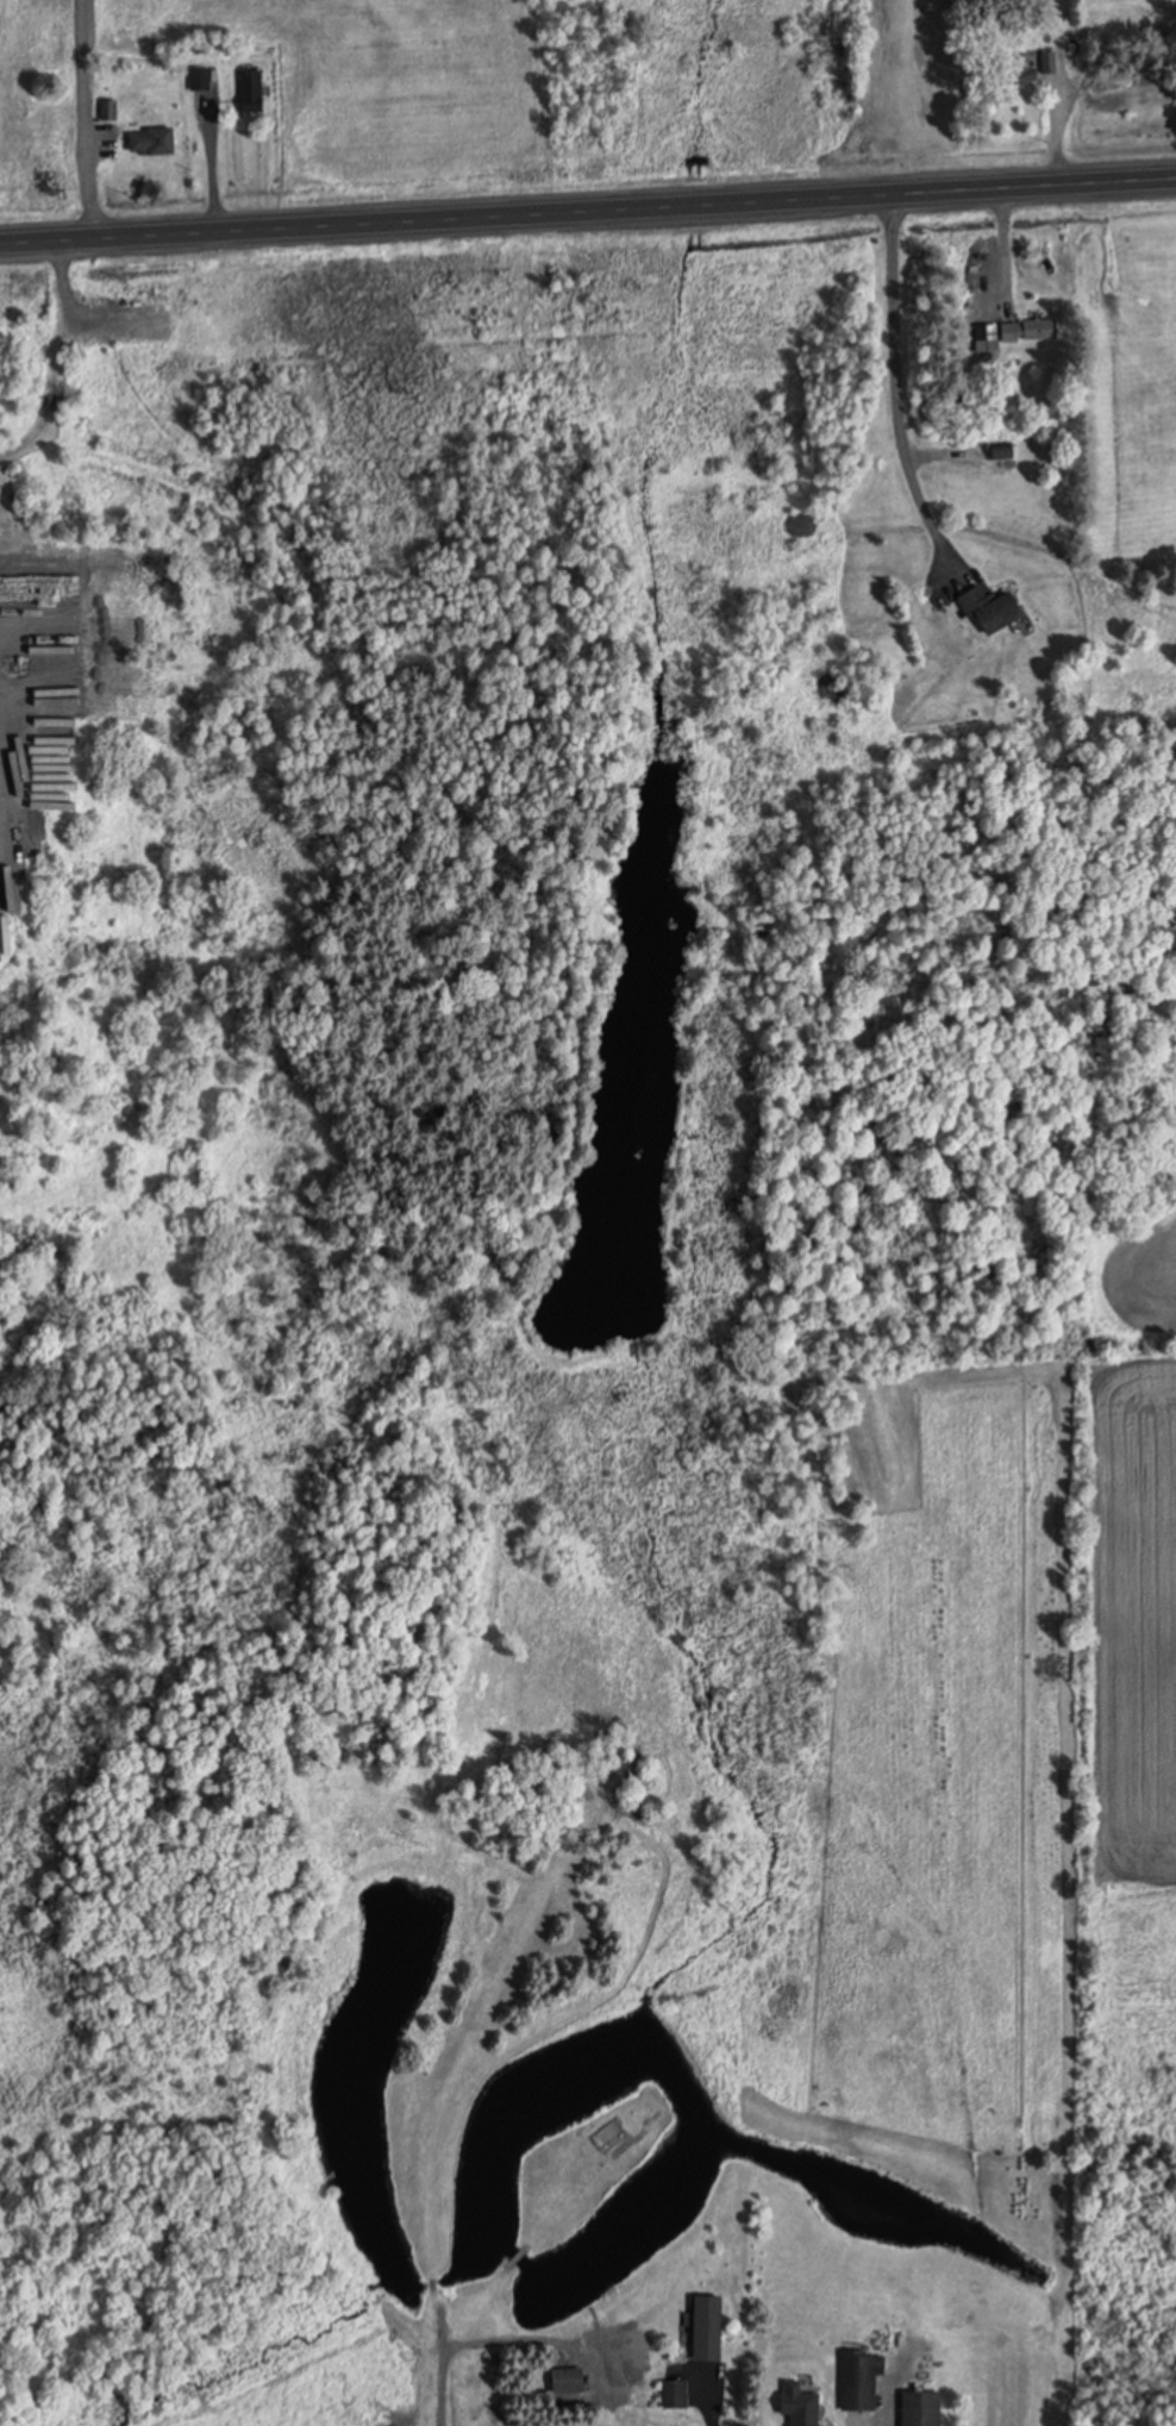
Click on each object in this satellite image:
building: (1051, 62)
building: (200, 79)
building: (251, 89)
building: (110, 111)
building: (155, 142)
road: (587, 210)
building: (1031, 331)
building: (995, 608)
building: (5, 937)
building: (711, 2327)
building: (862, 2377)
building: (570, 2380)
building: (676, 2393)
building: (803, 2405)
building: (924, 2408)

